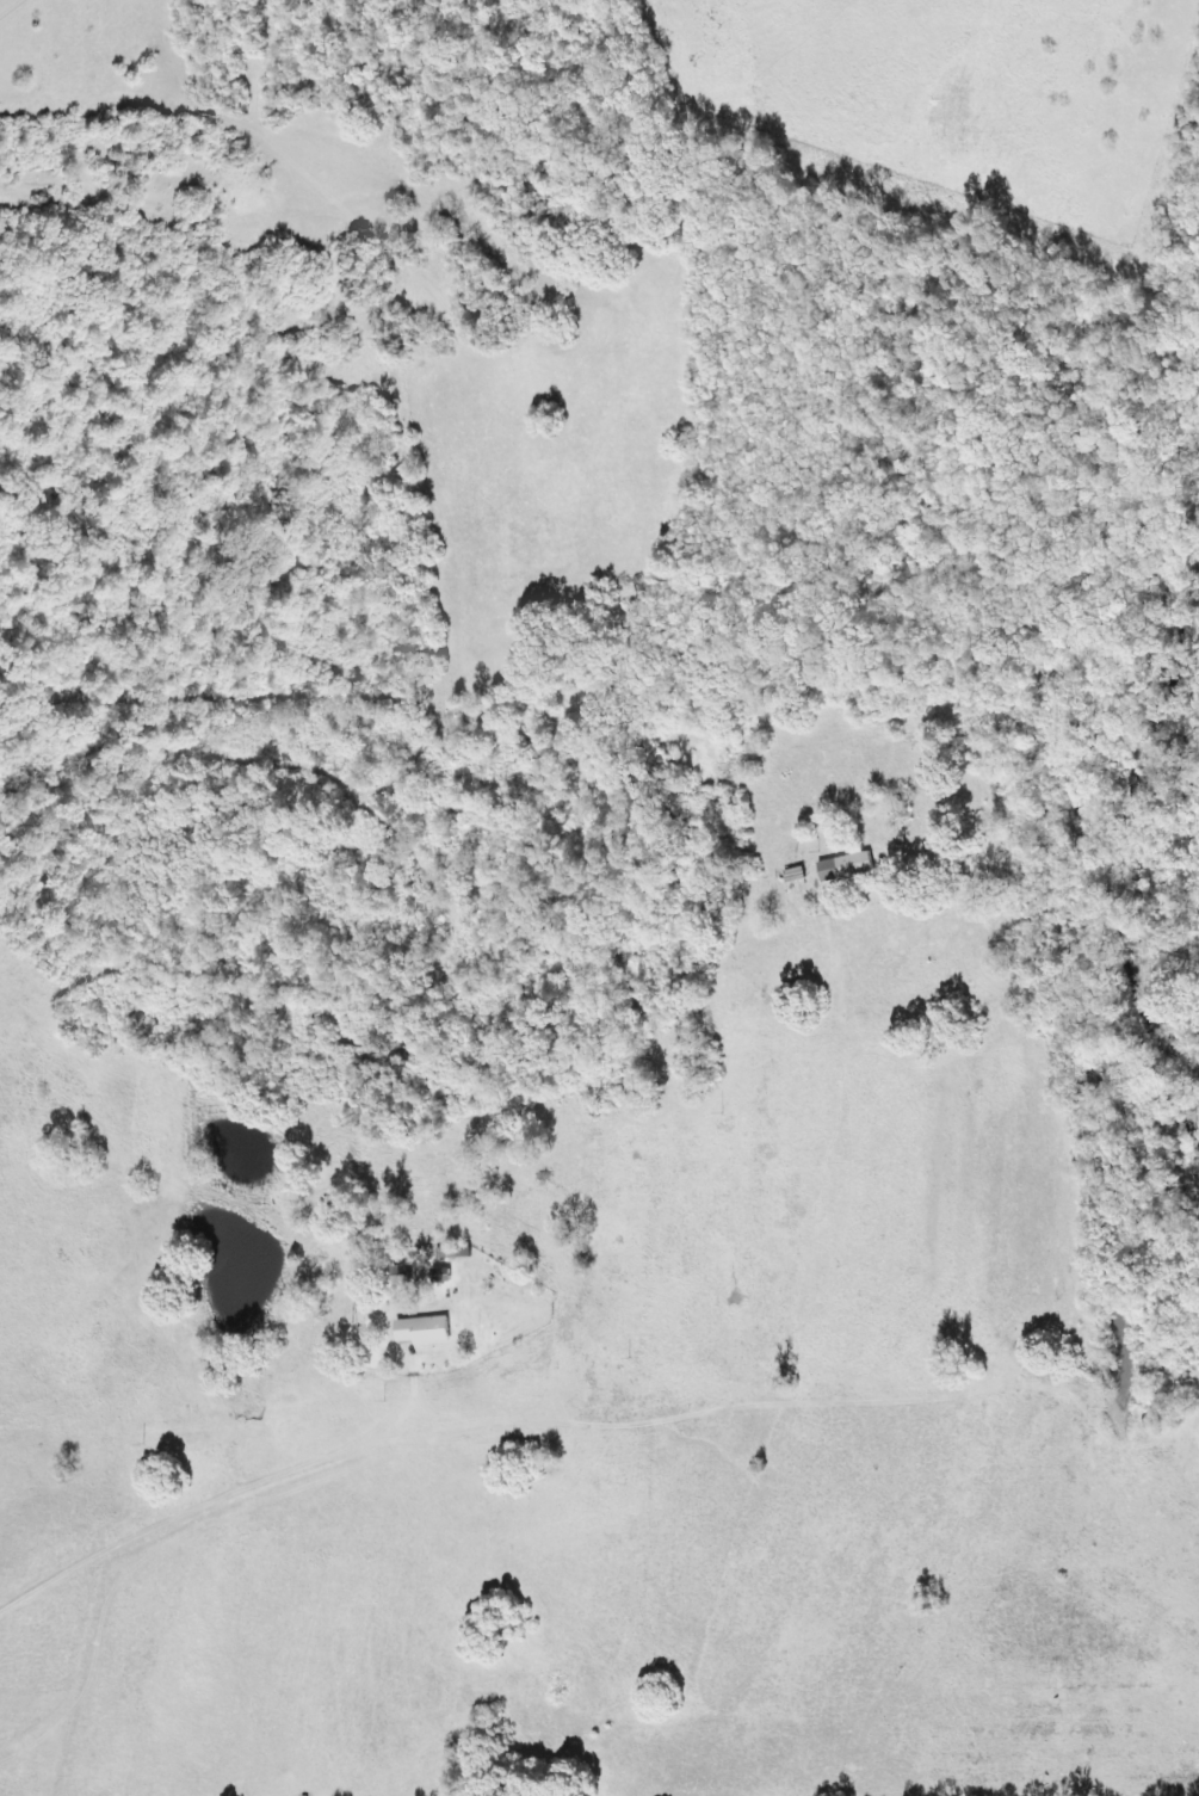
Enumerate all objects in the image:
road: (13, 10)
road: (179, 205)
building: (842, 866)
building: (450, 1252)
building: (400, 1276)
building: (432, 1276)
building: (419, 1331)
road: (241, 1481)

